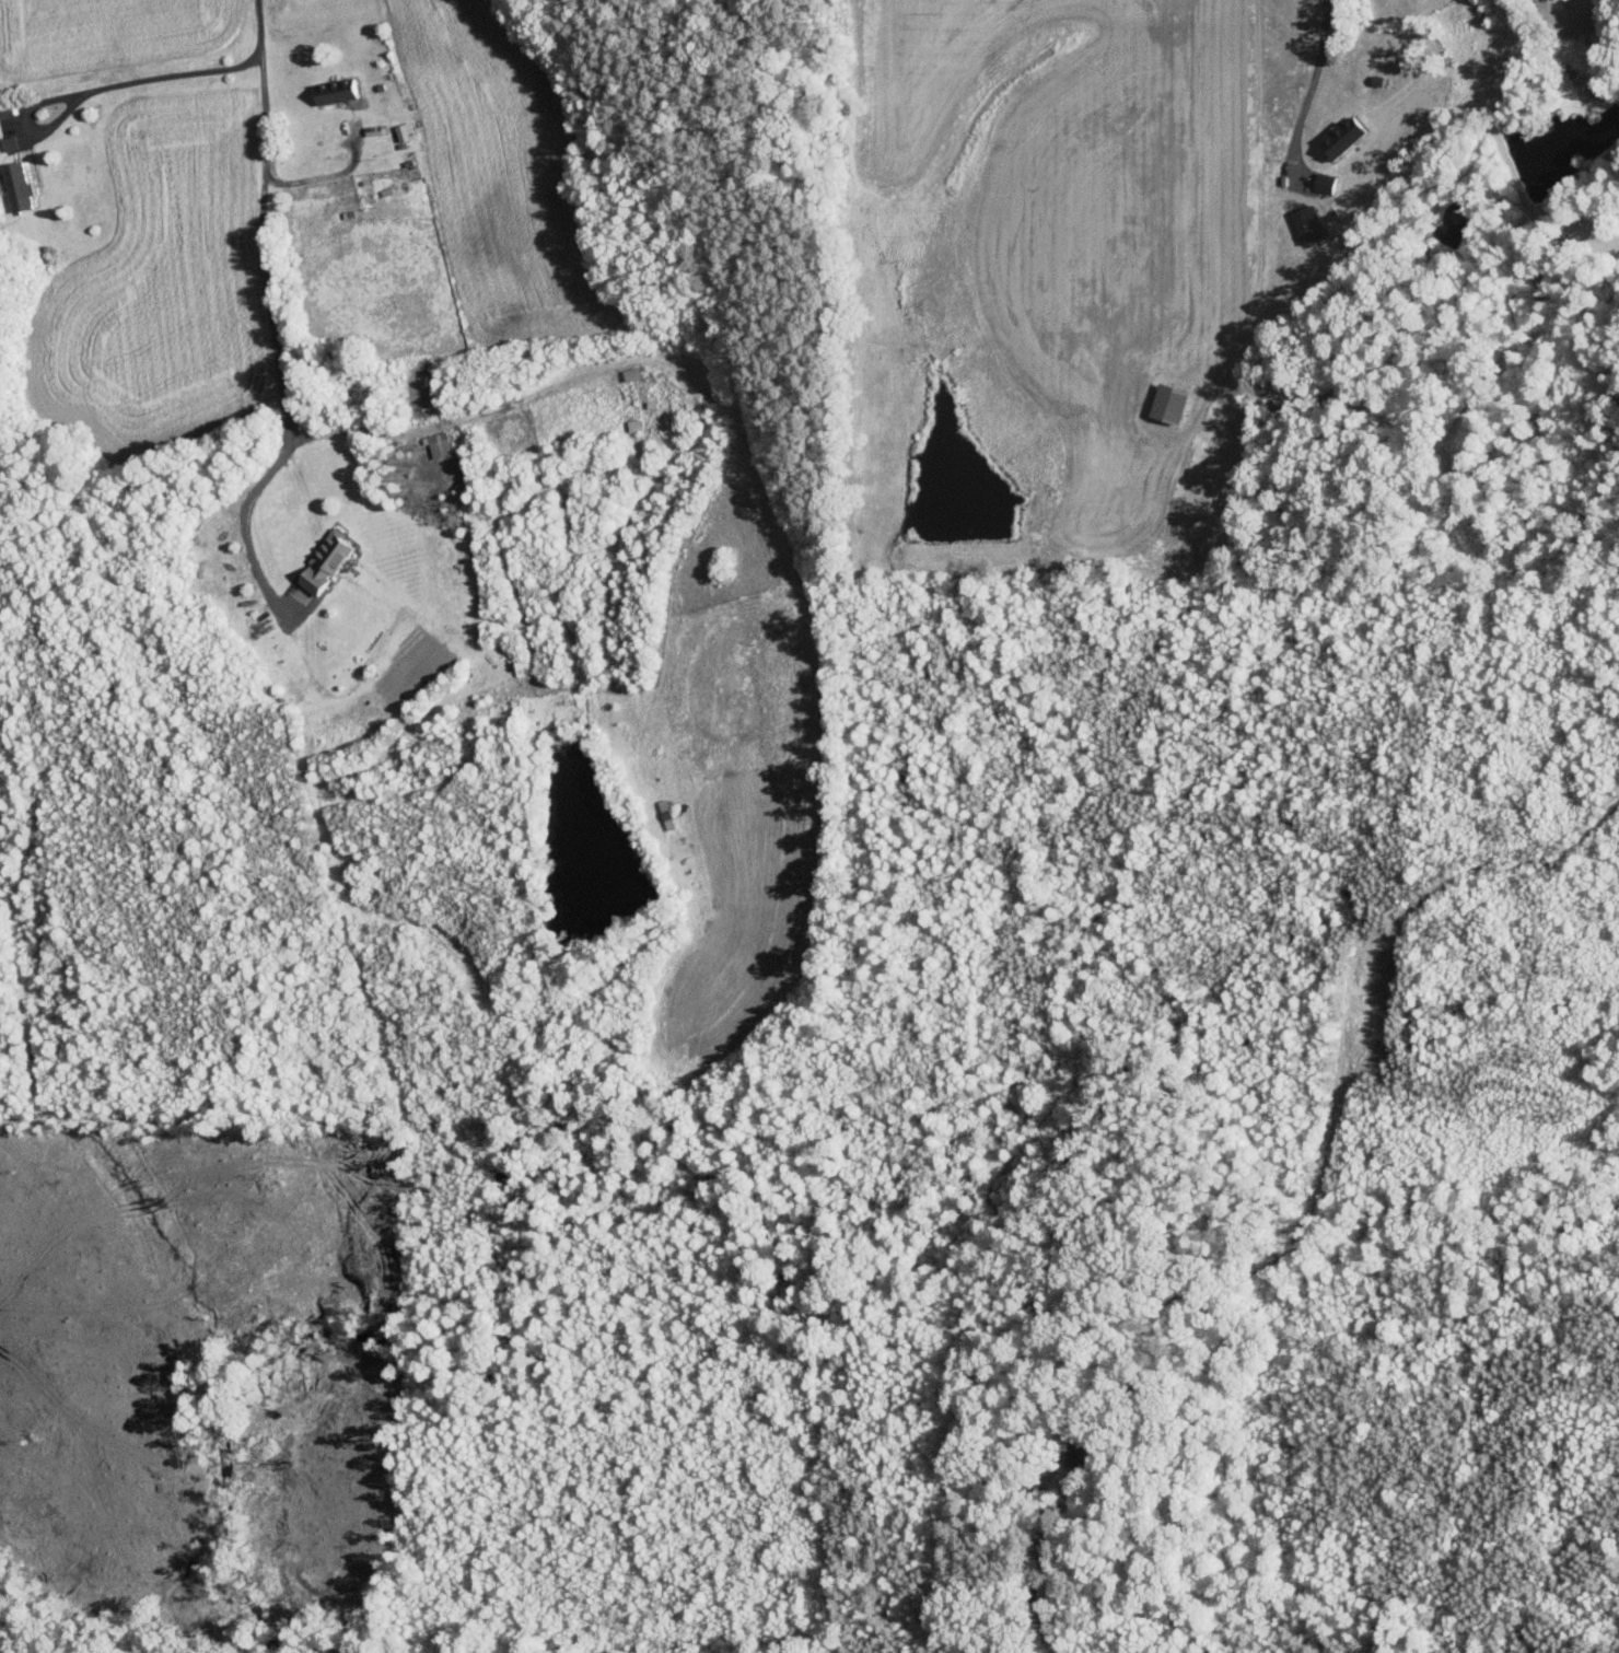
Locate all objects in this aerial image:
road: (150, 77)
road: (1308, 88)
building: (336, 90)
building: (1343, 137)
road: (1259, 162)
road: (325, 177)
building: (18, 186)
road: (270, 318)
road: (528, 399)
building: (1170, 403)
building: (326, 561)
road: (1033, 1559)

